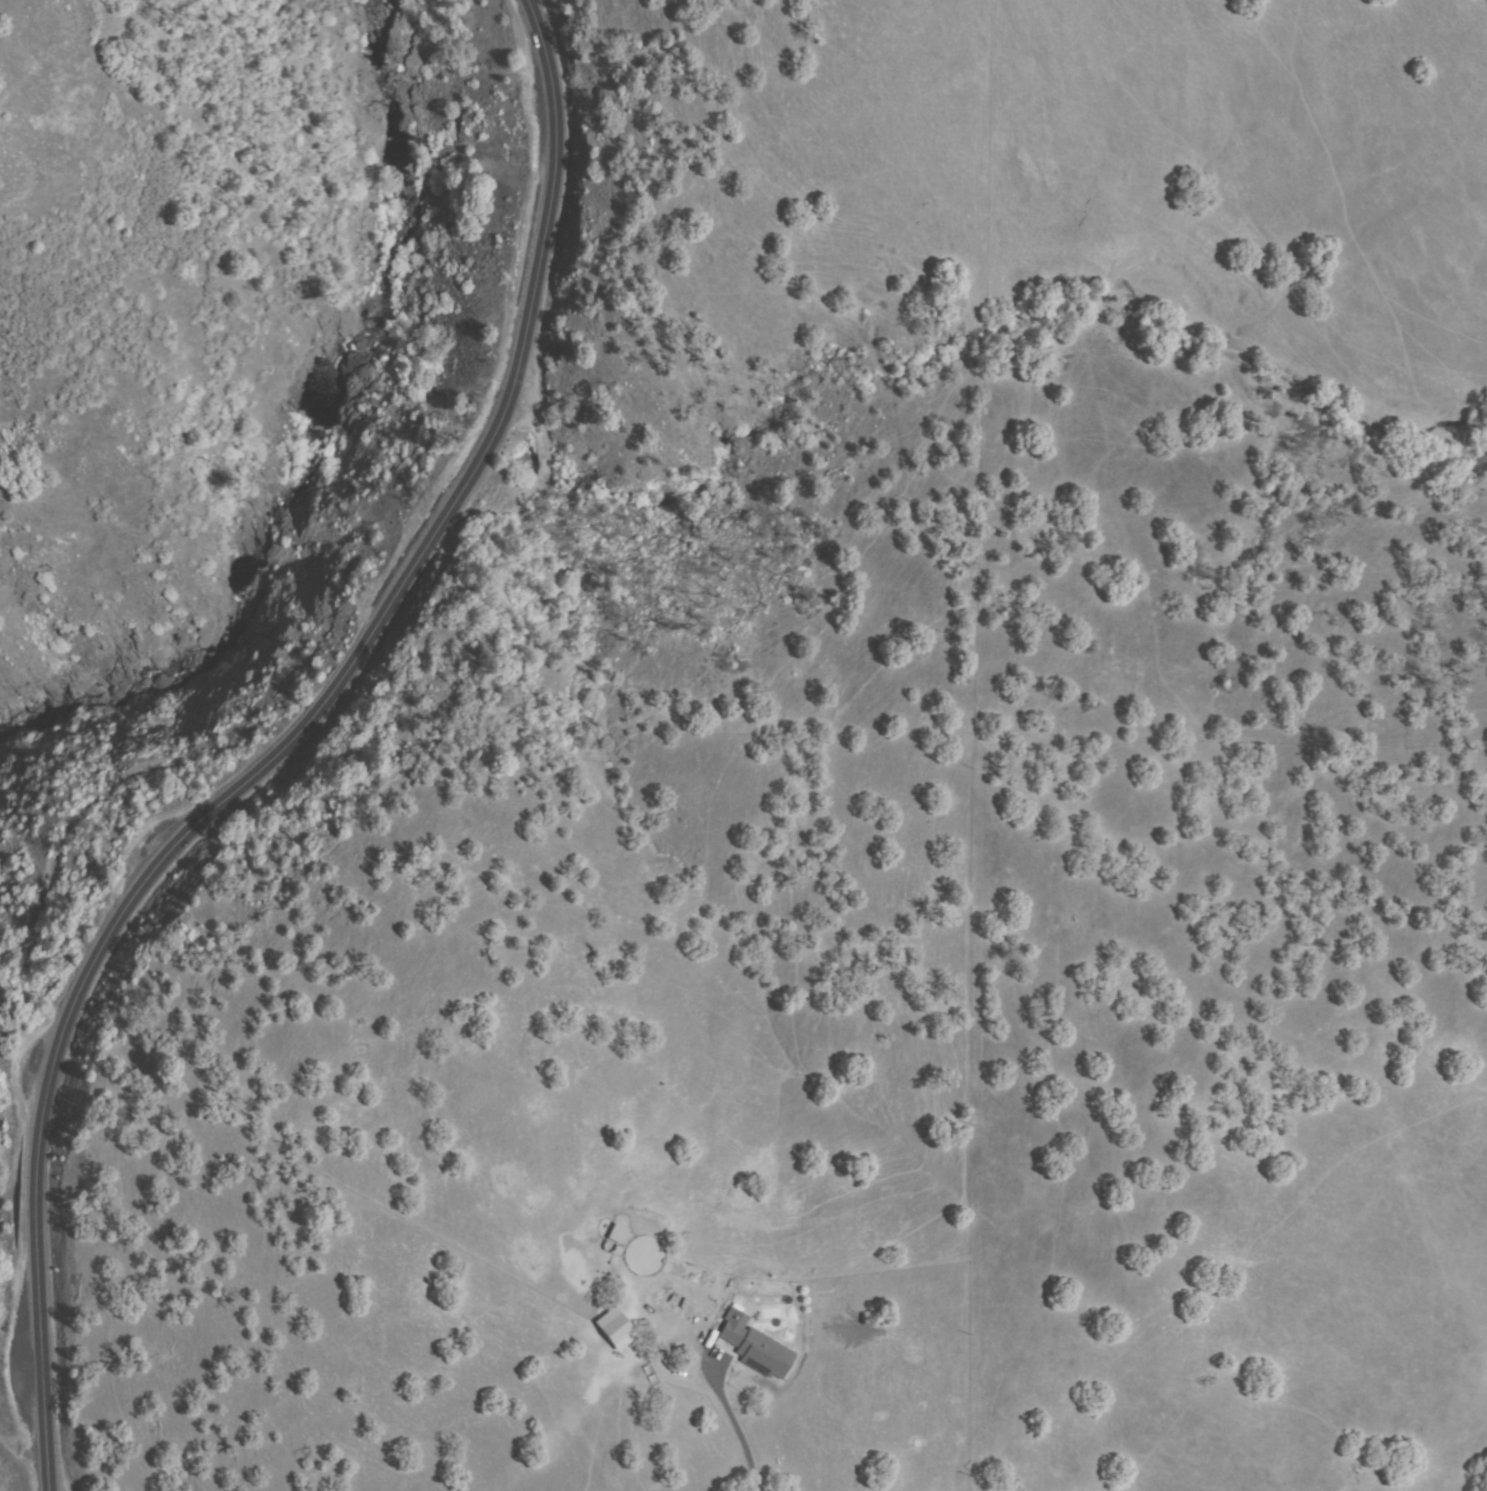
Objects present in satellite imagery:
road: (279, 746)
building: (756, 1349)

